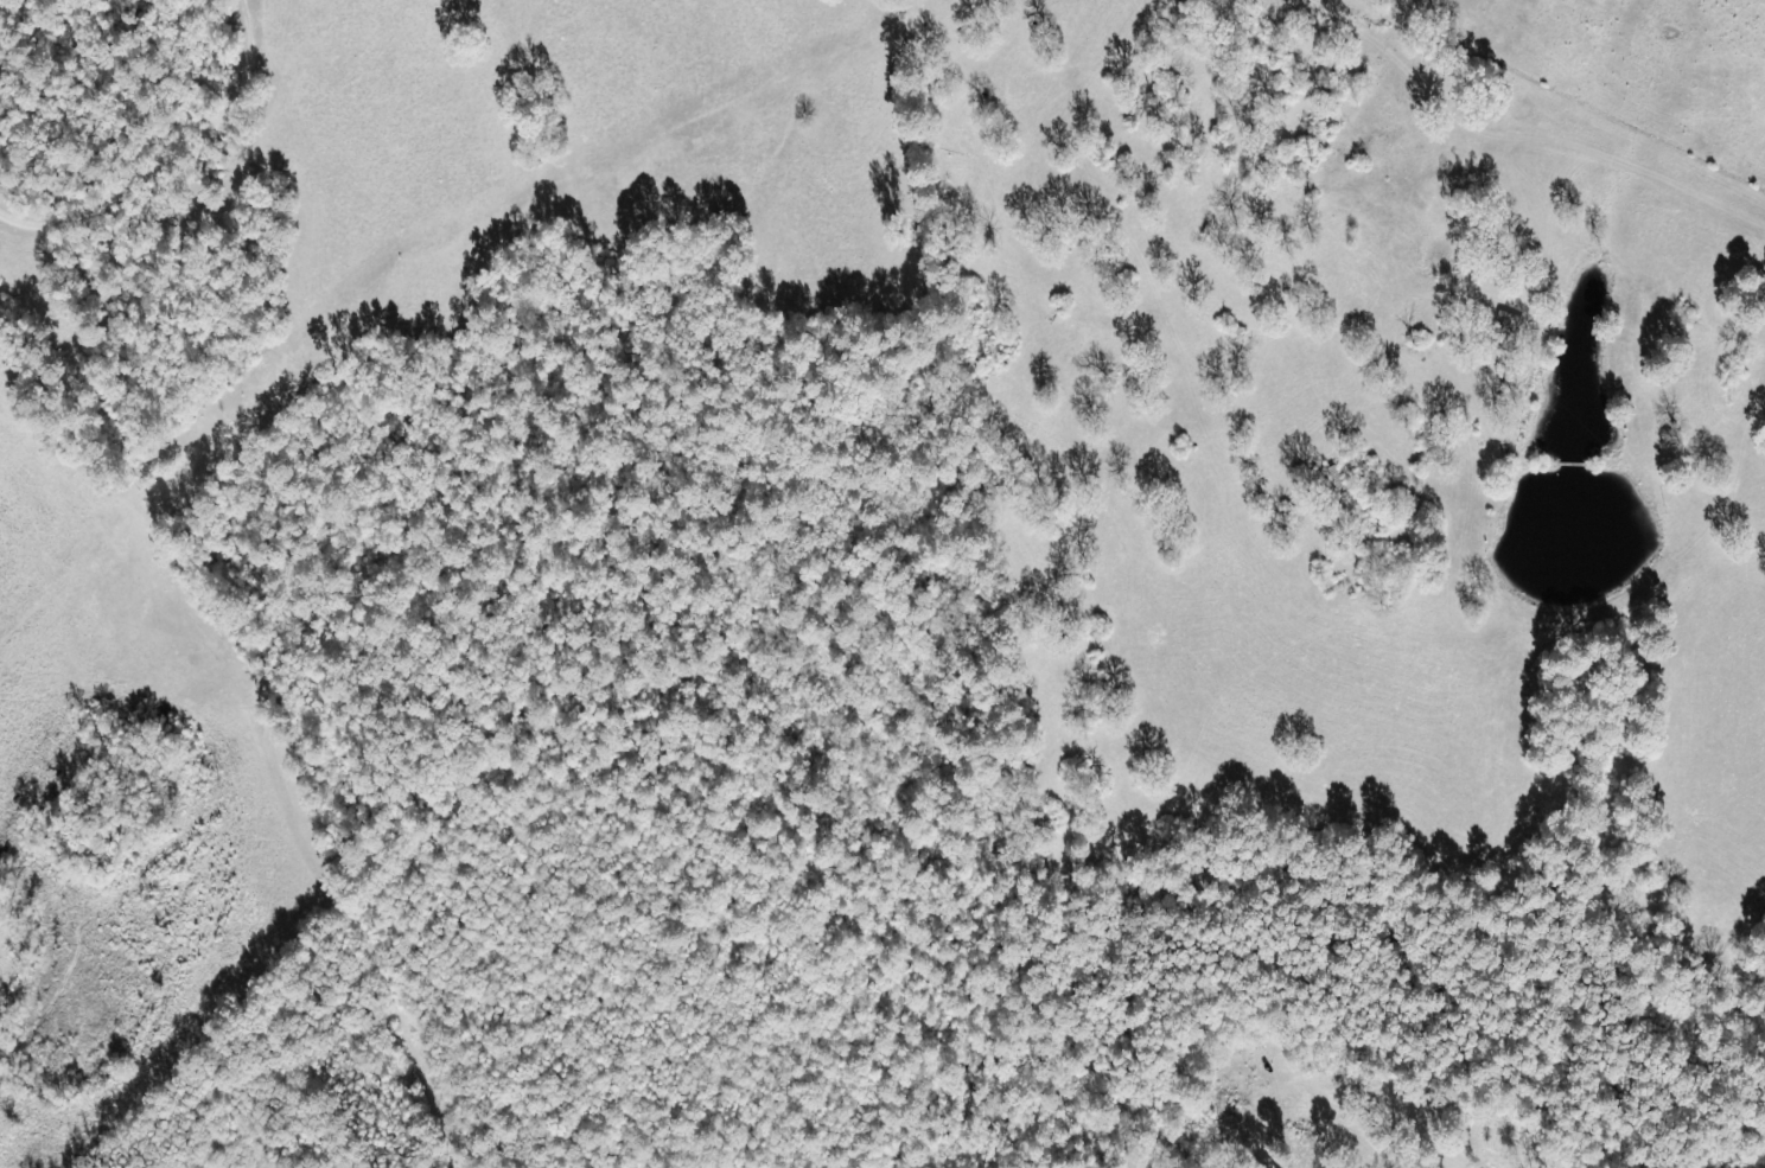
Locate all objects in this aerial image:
building: (1500, 330)

